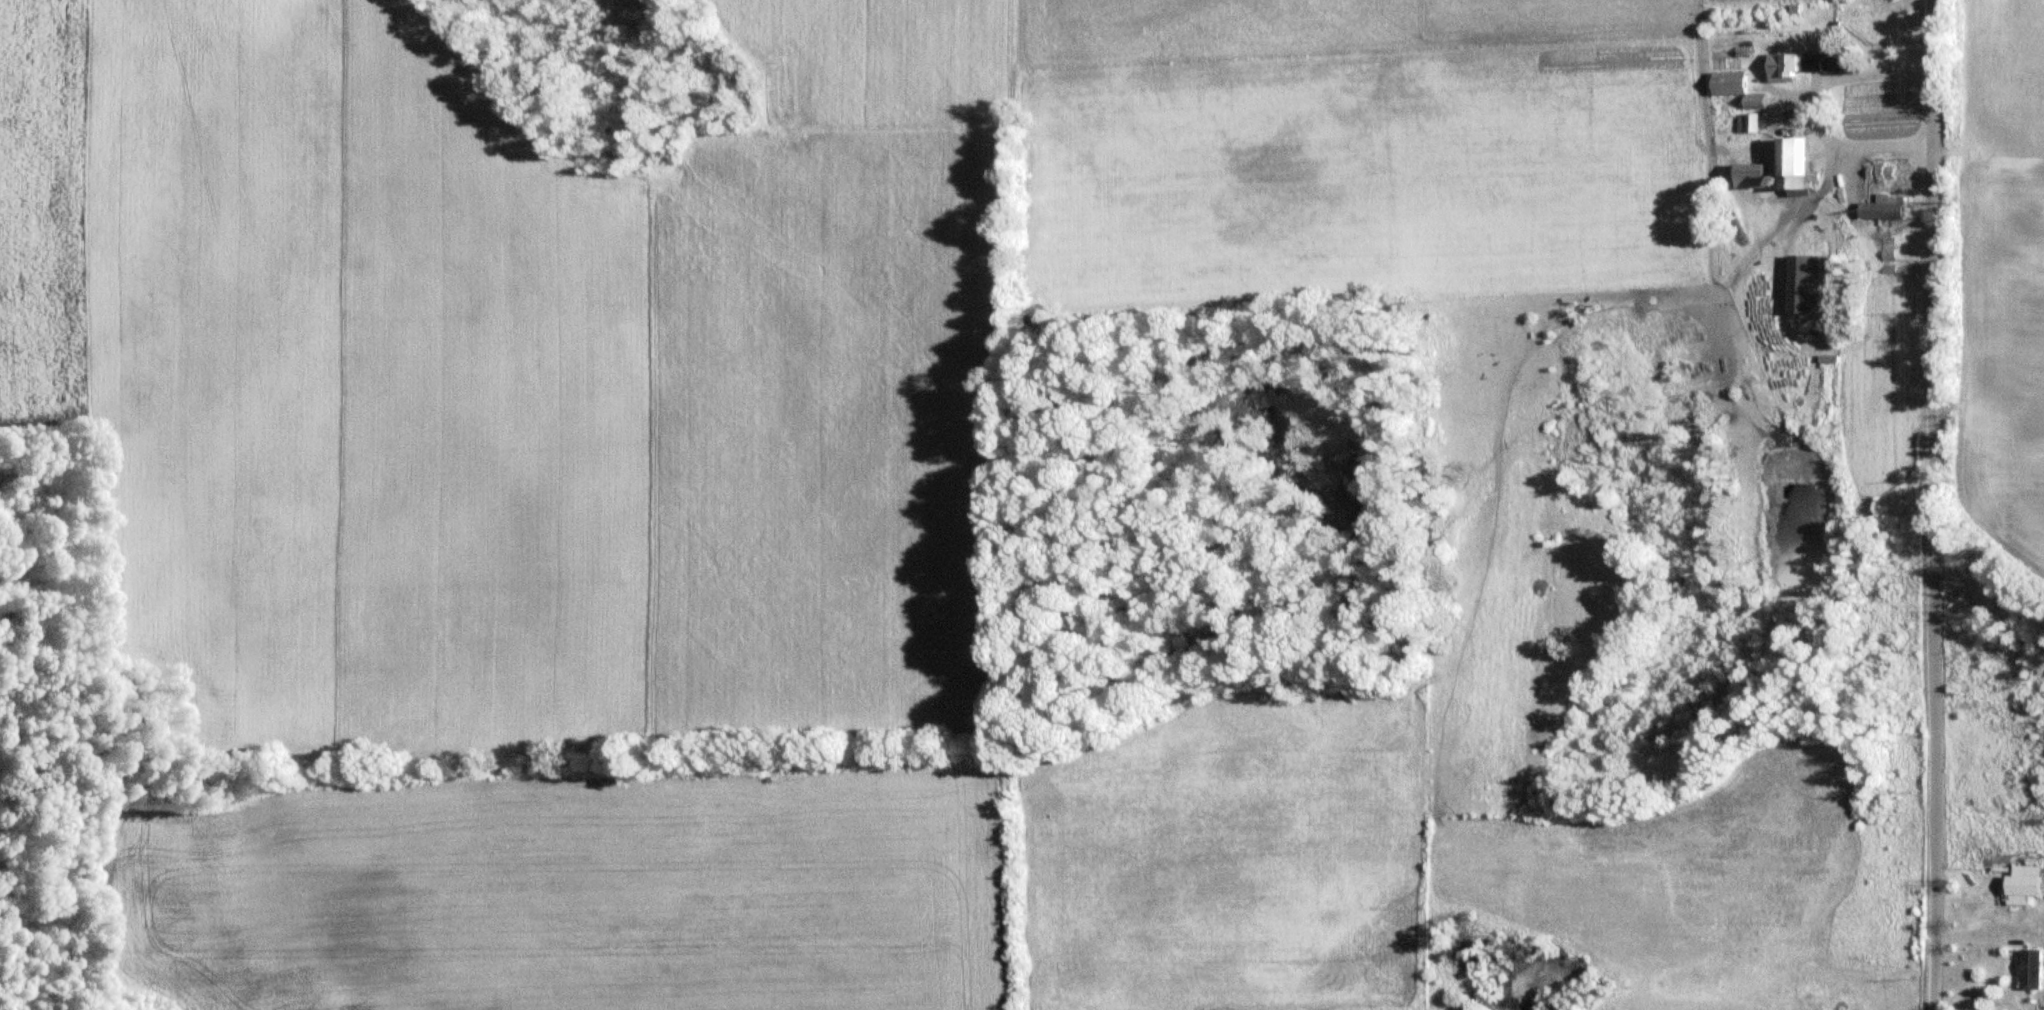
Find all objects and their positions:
building: (1852, 65)
building: (1753, 122)
building: (1802, 163)
building: (1761, 175)
building: (1889, 207)
building: (1808, 283)
building: (1830, 380)
road: (1922, 504)
building: (2027, 885)
building: (2034, 969)

